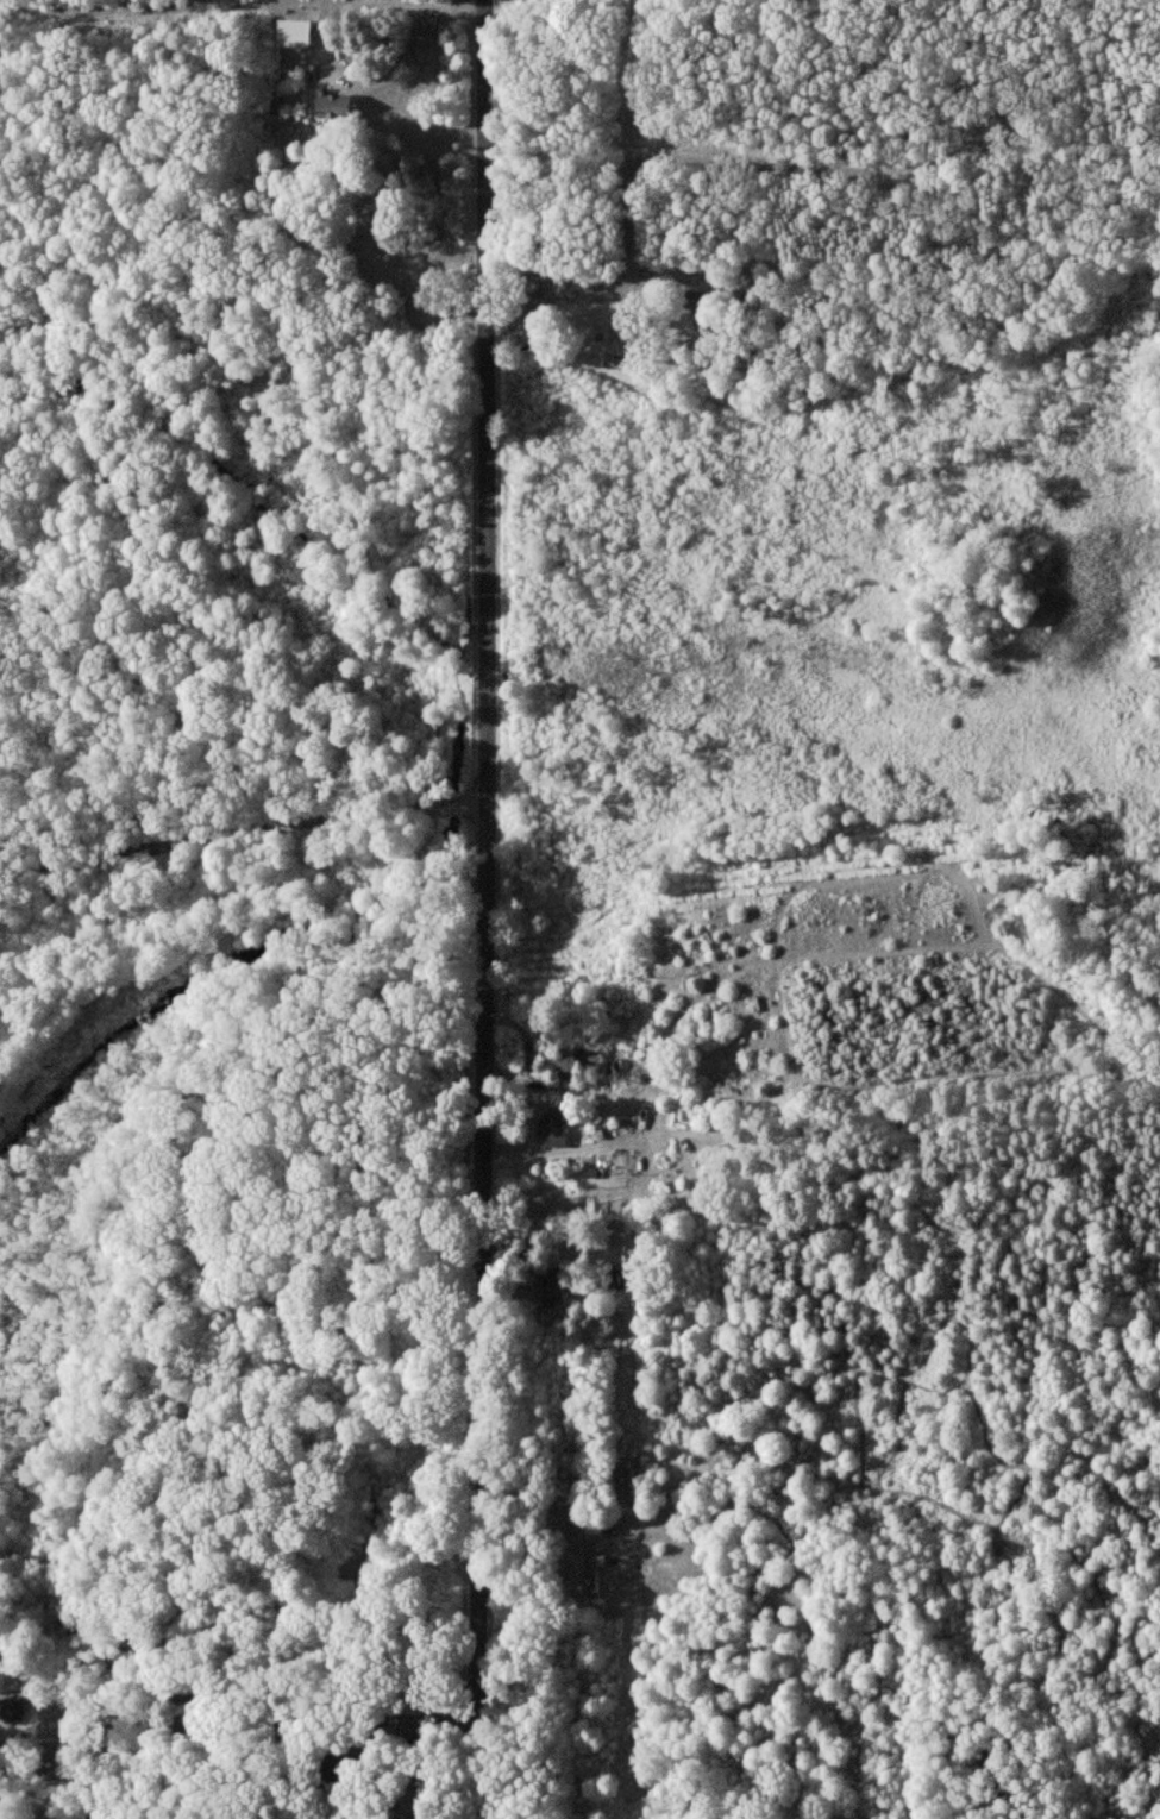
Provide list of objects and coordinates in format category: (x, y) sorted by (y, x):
building: (295, 32)
building: (334, 104)
road: (244, 835)
road: (489, 909)
building: (577, 1061)
building: (553, 1127)
building: (553, 1286)
building: (11, 1707)

